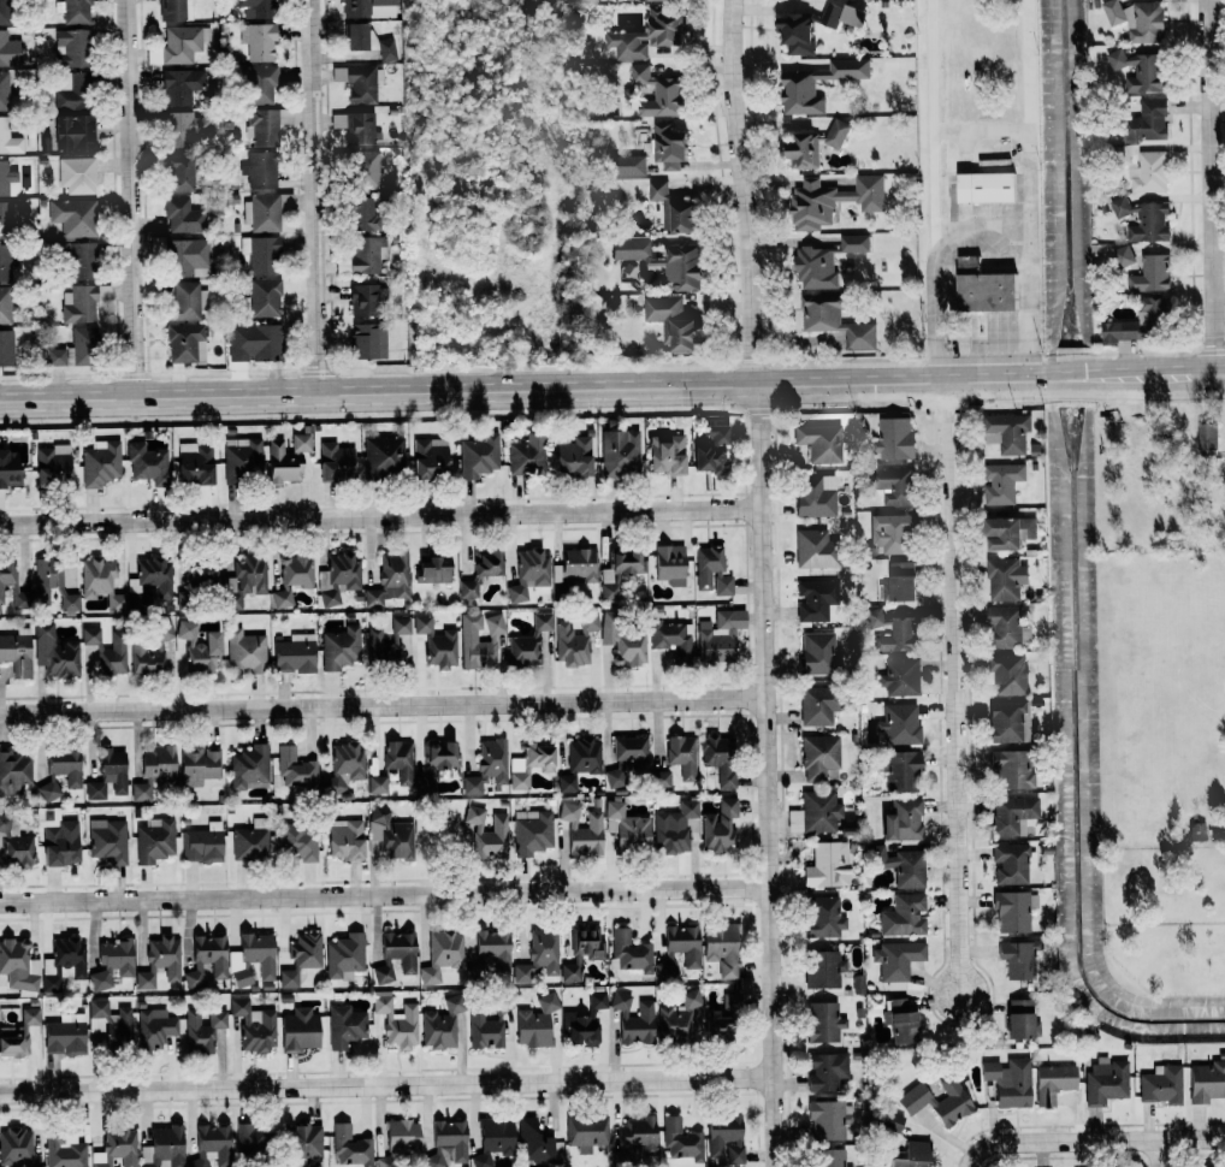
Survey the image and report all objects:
building: (659, 0)
building: (255, 7)
building: (367, 8)
building: (174, 10)
building: (72, 11)
building: (0, 12)
building: (842, 16)
building: (1136, 19)
building: (795, 32)
building: (646, 35)
building: (355, 36)
building: (258, 41)
building: (70, 48)
building: (385, 49)
building: (1138, 70)
building: (356, 83)
building: (259, 84)
building: (179, 87)
building: (797, 88)
building: (641, 90)
building: (656, 93)
road: (1026, 119)
building: (1144, 122)
building: (261, 126)
building: (182, 128)
road: (931, 131)
building: (835, 134)
building: (69, 135)
building: (8, 138)
building: (667, 146)
building: (801, 150)
building: (628, 165)
building: (361, 166)
building: (258, 170)
building: (1143, 170)
building: (178, 171)
building: (75, 176)
building: (7, 180)
building: (984, 186)
road: (1207, 188)
road: (742, 191)
road: (314, 197)
road: (131, 199)
building: (832, 200)
building: (671, 209)
building: (261, 213)
building: (361, 213)
building: (182, 215)
building: (72, 217)
building: (1142, 219)
road: (982, 229)
building: (853, 243)
building: (1078, 249)
building: (629, 250)
building: (260, 254)
building: (365, 255)
building: (1122, 255)
building: (187, 257)
building: (79, 261)
building: (966, 262)
building: (6, 263)
building: (681, 266)
building: (815, 268)
building: (1149, 274)
building: (986, 291)
building: (264, 297)
building: (362, 300)
building: (183, 302)
building: (81, 303)
building: (5, 306)
building: (1154, 308)
building: (834, 320)
building: (671, 322)
building: (1123, 331)
building: (366, 340)
building: (184, 343)
building: (251, 343)
building: (6, 348)
building: (72, 350)
road: (611, 387)
building: (1006, 432)
building: (1206, 436)
building: (893, 438)
building: (300, 443)
building: (818, 443)
building: (710, 448)
building: (619, 452)
building: (477, 455)
building: (526, 455)
building: (664, 455)
building: (241, 456)
building: (383, 456)
building: (573, 456)
building: (428, 458)
building: (99, 463)
building: (146, 463)
building: (193, 463)
building: (280, 463)
building: (333, 463)
building: (52, 464)
building: (1224, 467)
building: (7, 469)
building: (1002, 482)
building: (892, 485)
building: (815, 496)
road: (380, 517)
building: (890, 533)
building: (1007, 533)
building: (813, 549)
building: (626, 562)
building: (486, 563)
building: (579, 564)
building: (669, 564)
building: (432, 570)
building: (711, 570)
building: (528, 571)
building: (201, 574)
building: (337, 575)
building: (96, 577)
building: (1005, 577)
building: (243, 579)
building: (291, 579)
building: (389, 580)
building: (900, 580)
building: (51, 583)
building: (149, 583)
building: (467, 588)
building: (813, 600)
building: (540, 622)
building: (1004, 627)
building: (185, 629)
building: (890, 629)
building: (89, 635)
building: (717, 635)
building: (467, 638)
building: (669, 639)
building: (574, 641)
building: (622, 642)
building: (390, 644)
building: (436, 644)
building: (339, 648)
building: (150, 650)
building: (523, 650)
building: (17, 652)
building: (53, 652)
building: (205, 653)
building: (817, 653)
building: (294, 654)
building: (113, 656)
building: (1006, 674)
building: (899, 677)
road: (381, 703)
road: (958, 704)
building: (816, 706)
building: (1007, 722)
building: (899, 724)
building: (582, 756)
building: (681, 756)
building: (718, 758)
building: (819, 758)
building: (398, 760)
building: (626, 760)
building: (156, 763)
building: (436, 763)
building: (531, 763)
building: (64, 765)
building: (199, 765)
building: (248, 766)
building: (343, 766)
building: (486, 768)
building: (113, 769)
building: (1011, 769)
building: (292, 770)
building: (899, 771)
building: (13, 772)
road: (764, 776)
building: (659, 780)
building: (566, 783)
building: (377, 784)
building: (47, 790)
building: (141, 790)
building: (94, 792)
building: (813, 813)
building: (1011, 816)
building: (901, 821)
building: (718, 827)
building: (626, 828)
building: (581, 830)
building: (1196, 831)
building: (531, 833)
building: (390, 834)
building: (486, 834)
building: (58, 839)
building: (107, 840)
building: (154, 840)
building: (344, 840)
building: (250, 841)
building: (296, 842)
building: (202, 843)
building: (13, 846)
building: (1011, 864)
building: (827, 865)
building: (898, 866)
road: (383, 894)
building: (1012, 912)
building: (903, 916)
building: (823, 917)
building: (493, 948)
building: (721, 948)
building: (679, 950)
building: (629, 952)
building: (581, 953)
building: (440, 954)
building: (395, 955)
building: (343, 956)
building: (64, 958)
building: (300, 958)
building: (538, 958)
building: (251, 959)
building: (1017, 959)
building: (206, 960)
building: (895, 960)
building: (159, 961)
building: (111, 964)
building: (18, 965)
building: (823, 970)
building: (501, 1009)
building: (677, 1017)
building: (633, 1019)
building: (722, 1019)
building: (395, 1020)
building: (1020, 1020)
building: (584, 1021)
building: (899, 1021)
building: (535, 1023)
building: (822, 1023)
building: (440, 1024)
building: (107, 1026)
building: (253, 1026)
building: (343, 1026)
building: (154, 1029)
building: (201, 1030)
building: (298, 1030)
building: (483, 1031)
building: (14, 1038)
building: (63, 1038)
building: (824, 1071)
building: (1105, 1080)
building: (1206, 1080)
building: (1010, 1082)
building: (1052, 1082)
road: (385, 1083)
building: (1160, 1084)
building: (913, 1100)
building: (889, 1119)
building: (825, 1120)
building: (586, 1132)
building: (401, 1137)
building: (639, 1137)
building: (724, 1137)
road: (1194, 1137)
building: (248, 1138)
building: (492, 1139)
building: (302, 1141)
building: (681, 1141)
road: (1059, 1141)
building: (533, 1142)
building: (208, 1143)
building: (446, 1144)
building: (349, 1147)
building: (16, 1148)
building: (116, 1148)
building: (162, 1148)
building: (64, 1150)
road: (1164, 1153)
building: (912, 1155)
building: (830, 1157)

